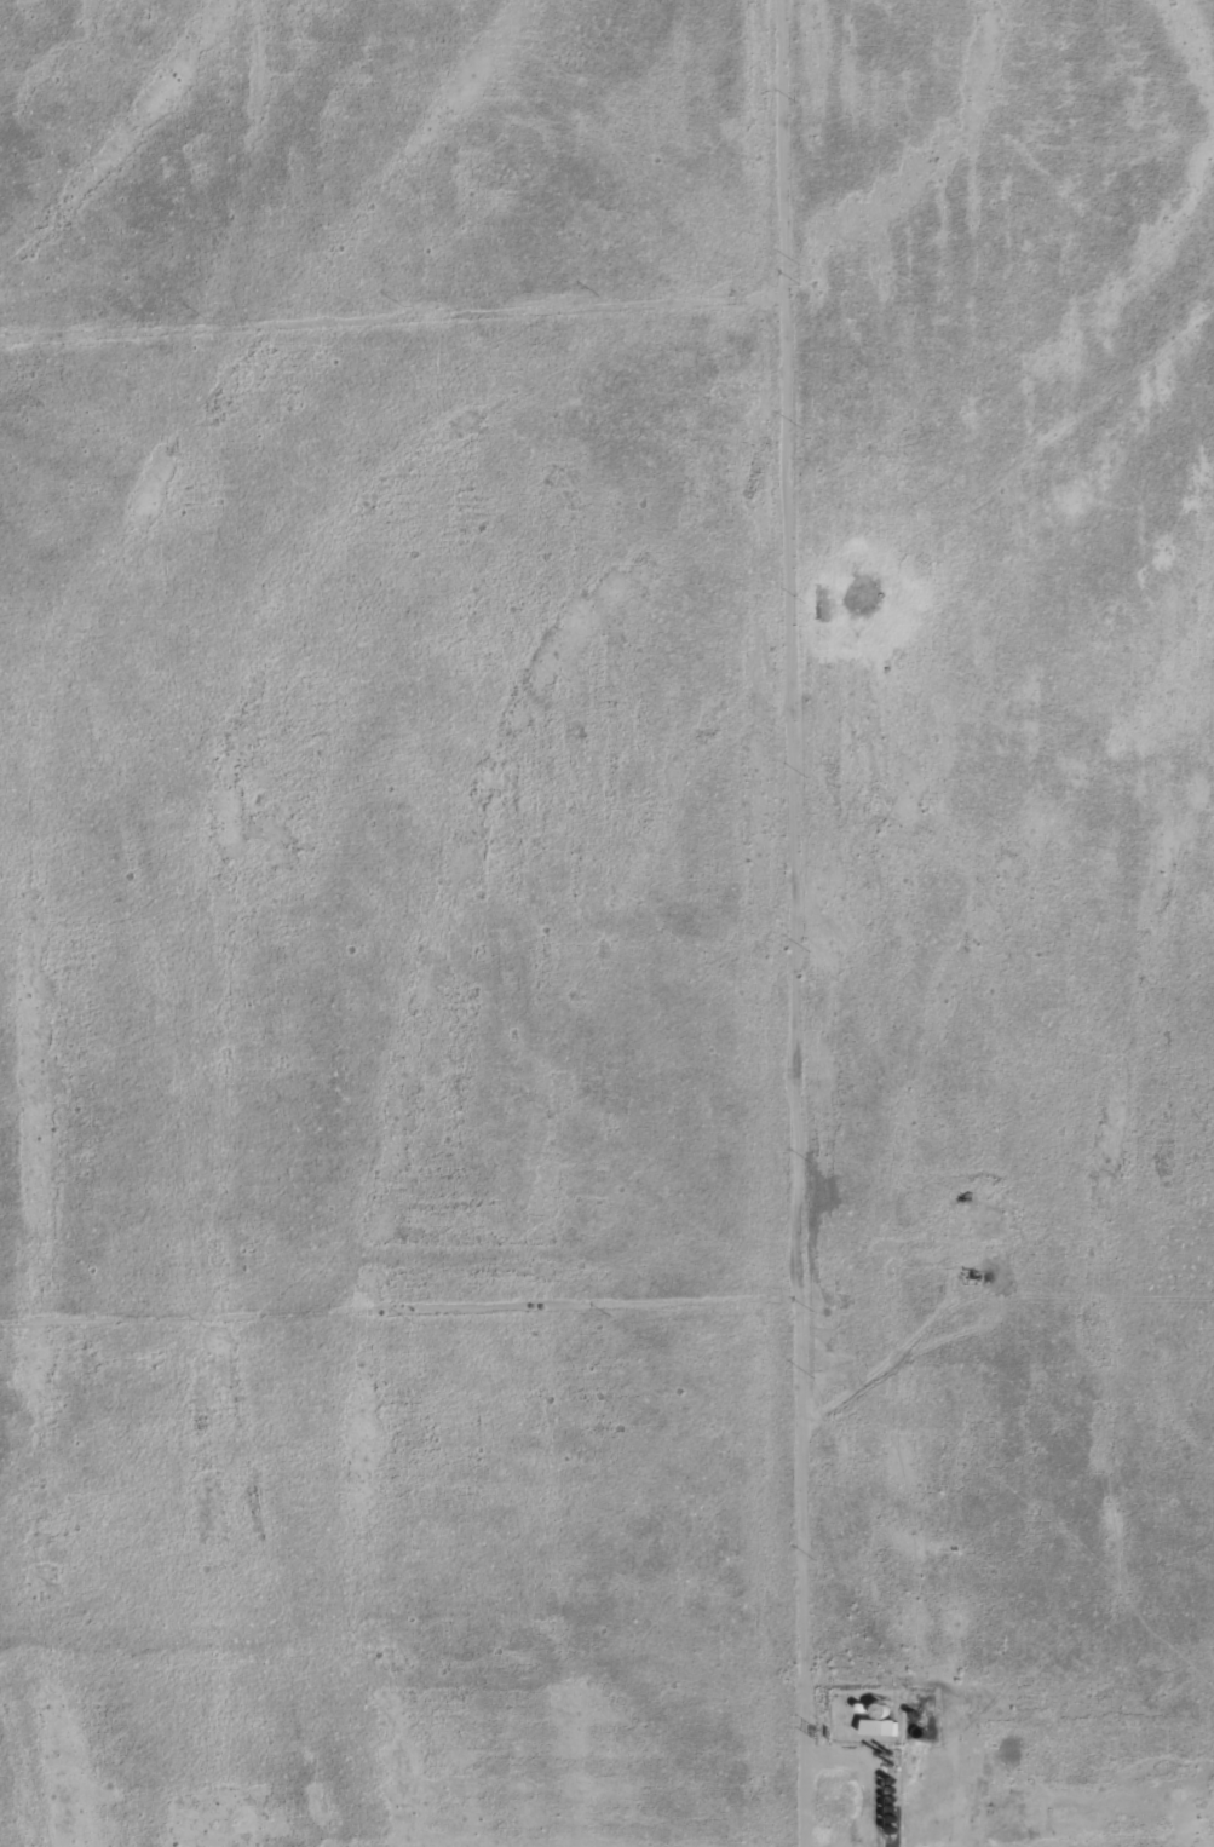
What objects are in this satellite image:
road: (788, 923)
road: (196, 1347)

